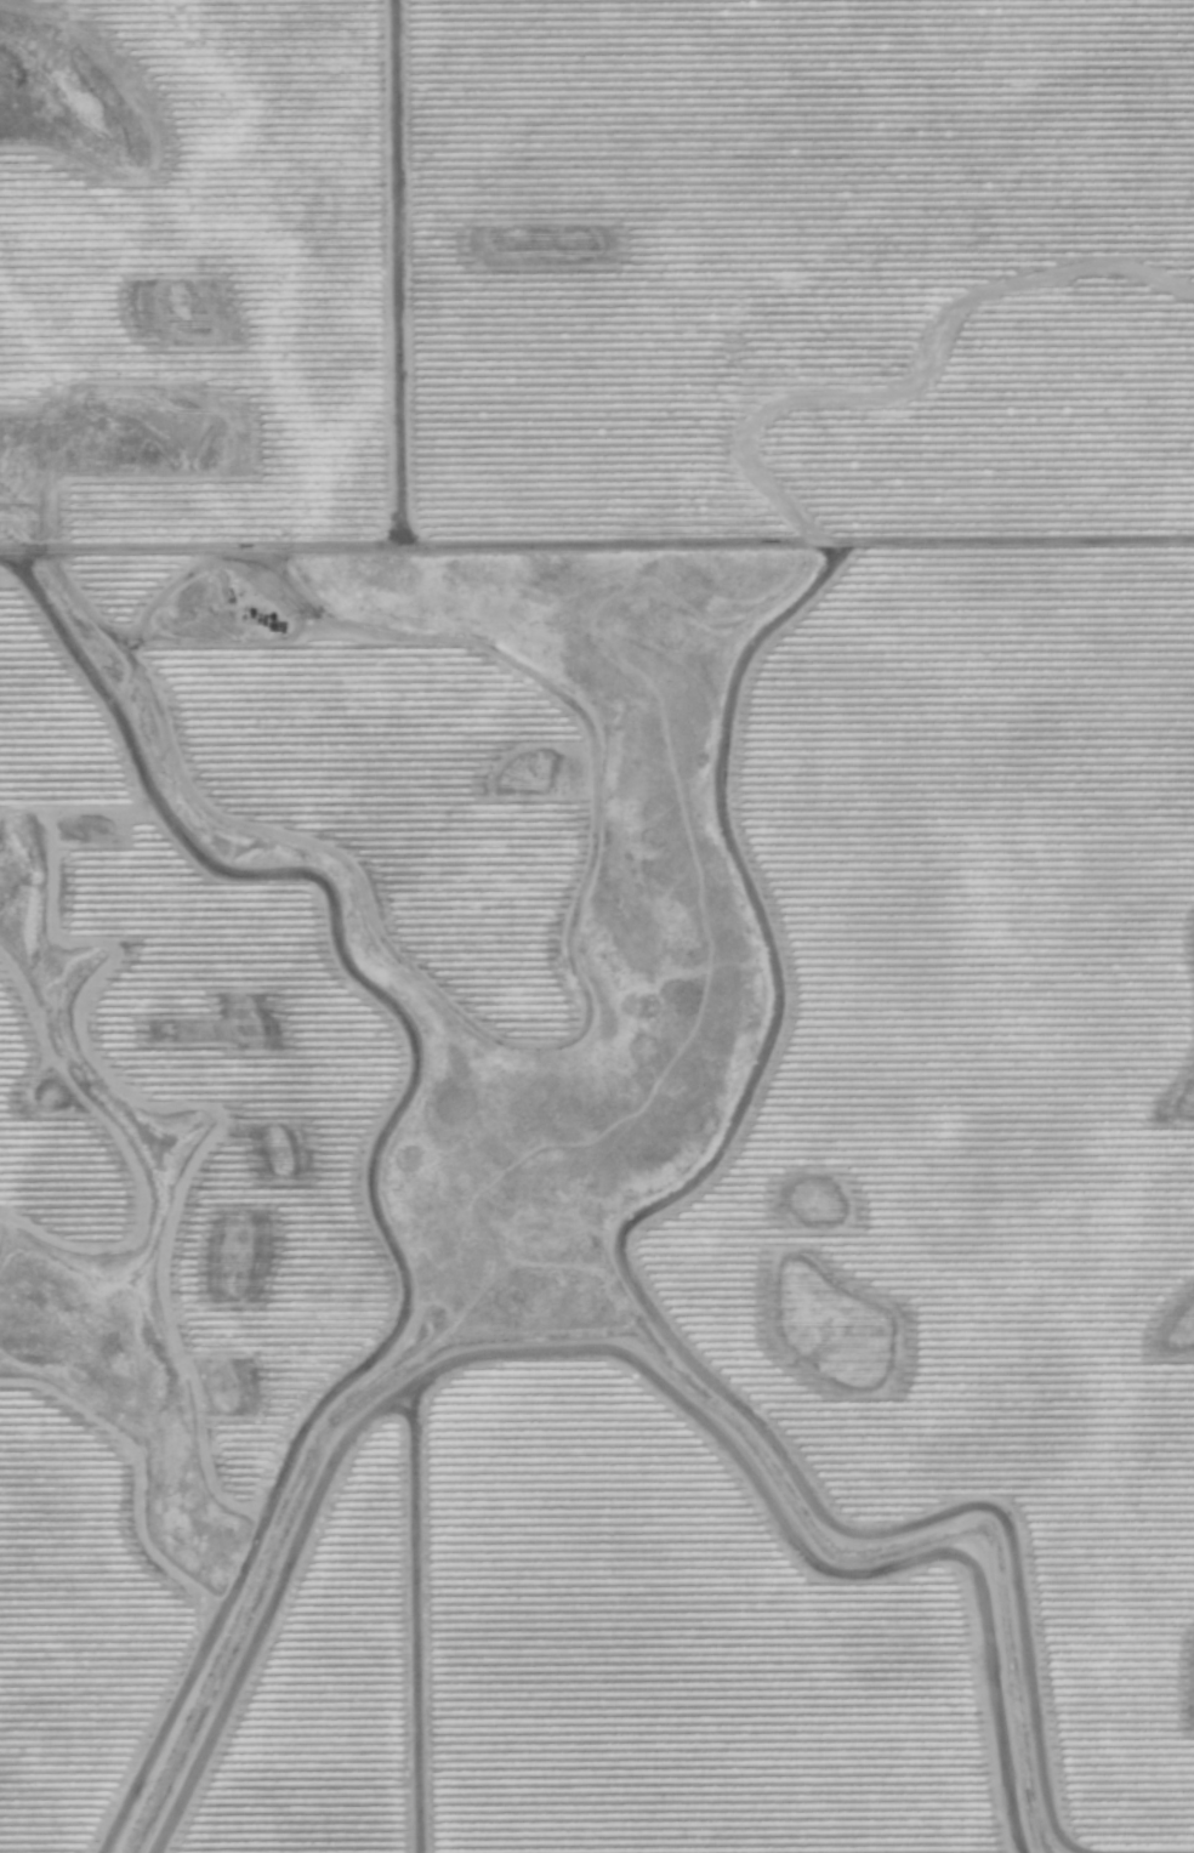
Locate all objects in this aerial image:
crop: (593, 280)
crop: (625, 1644)

